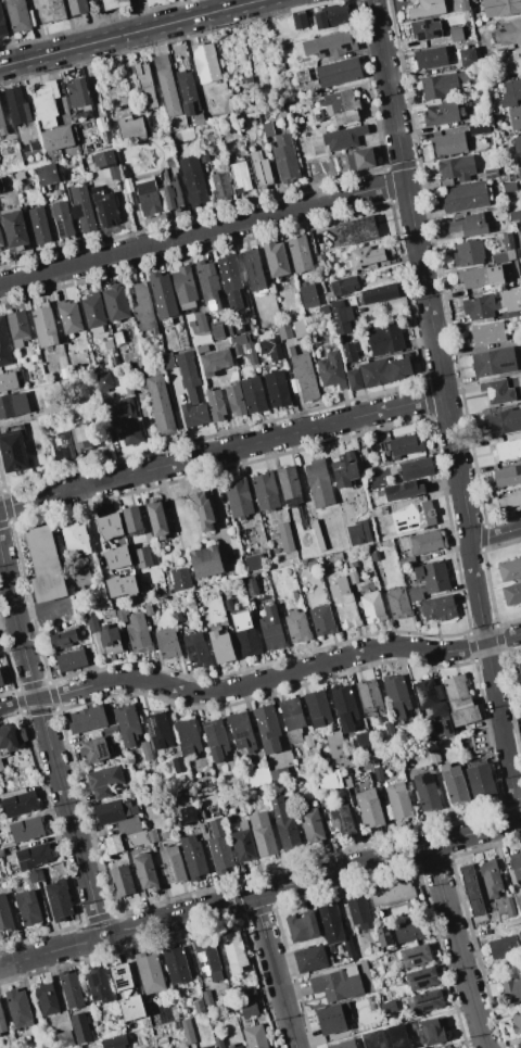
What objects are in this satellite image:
building: (143, 0)
building: (115, 3)
building: (463, 5)
building: (77, 7)
building: (500, 8)
building: (427, 9)
building: (52, 10)
building: (17, 15)
building: (331, 15)
building: (300, 21)
building: (476, 23)
building: (2, 24)
building: (425, 29)
road: (129, 33)
building: (508, 33)
building: (456, 34)
building: (329, 45)
building: (431, 58)
building: (468, 58)
building: (511, 60)
building: (205, 62)
building: (339, 72)
building: (302, 76)
building: (144, 80)
building: (167, 85)
building: (440, 85)
building: (77, 92)
building: (188, 92)
building: (510, 93)
building: (46, 103)
building: (343, 105)
building: (17, 106)
building: (442, 113)
building: (251, 114)
building: (514, 117)
building: (1, 118)
building: (199, 118)
building: (300, 119)
building: (130, 128)
building: (268, 129)
building: (479, 129)
building: (56, 138)
building: (344, 138)
building: (517, 143)
building: (448, 144)
building: (203, 155)
building: (104, 157)
building: (285, 157)
building: (361, 159)
building: (170, 163)
building: (260, 169)
building: (456, 171)
building: (112, 173)
building: (519, 173)
building: (47, 174)
building: (491, 174)
building: (240, 176)
building: (505, 178)
building: (193, 179)
building: (220, 186)
building: (509, 187)
building: (173, 195)
building: (148, 197)
building: (465, 198)
building: (105, 206)
building: (82, 209)
building: (514, 215)
building: (61, 218)
building: (40, 225)
building: (469, 225)
building: (14, 227)
building: (520, 229)
building: (356, 230)
road: (202, 231)
building: (1, 239)
building: (0, 249)
building: (506, 250)
building: (468, 253)
building: (518, 253)
building: (300, 254)
building: (367, 256)
building: (276, 258)
building: (254, 270)
building: (480, 276)
building: (520, 278)
building: (208, 283)
building: (232, 283)
building: (344, 286)
building: (185, 287)
building: (380, 293)
building: (308, 294)
building: (163, 295)
building: (329, 296)
building: (511, 301)
building: (115, 302)
building: (480, 306)
building: (143, 308)
building: (93, 311)
building: (68, 316)
building: (341, 317)
building: (201, 323)
building: (191, 324)
building: (45, 326)
building: (17, 327)
building: (221, 329)
building: (284, 331)
building: (487, 332)
building: (391, 338)
building: (3, 344)
building: (243, 348)
building: (201, 349)
building: (271, 349)
building: (292, 350)
building: (78, 358)
building: (114, 361)
building: (215, 362)
building: (494, 362)
building: (331, 370)
building: (380, 371)
building: (64, 373)
building: (305, 376)
building: (9, 381)
building: (103, 381)
building: (277, 389)
building: (191, 390)
building: (497, 391)
building: (252, 394)
building: (234, 399)
building: (215, 404)
building: (160, 405)
building: (7, 406)
building: (37, 408)
road: (446, 409)
building: (124, 420)
building: (503, 421)
building: (81, 432)
building: (63, 444)
building: (401, 446)
building: (13, 449)
road: (221, 450)
building: (507, 450)
building: (417, 468)
building: (345, 470)
building: (507, 476)
building: (319, 483)
building: (289, 485)
building: (265, 491)
building: (405, 491)
building: (239, 498)
building: (509, 503)
building: (204, 510)
building: (414, 517)
building: (132, 520)
building: (157, 520)
building: (109, 526)
building: (358, 531)
road: (496, 534)
building: (318, 535)
building: (285, 536)
building: (75, 538)
building: (427, 542)
building: (520, 552)
building: (374, 554)
building: (336, 556)
building: (115, 557)
building: (142, 557)
building: (205, 561)
building: (407, 561)
building: (253, 563)
building: (312, 564)
building: (45, 565)
building: (509, 569)
building: (353, 576)
building: (432, 576)
building: (79, 578)
building: (179, 580)
building: (119, 585)
building: (250, 585)
building: (415, 593)
building: (511, 594)
building: (343, 603)
building: (397, 603)
building: (228, 604)
building: (372, 607)
building: (439, 608)
building: (111, 614)
building: (122, 615)
building: (322, 620)
building: (205, 621)
building: (92, 623)
building: (103, 627)
building: (297, 627)
building: (271, 629)
building: (245, 632)
building: (138, 633)
building: (65, 636)
building: (109, 636)
building: (167, 643)
building: (221, 646)
building: (112, 649)
building: (196, 649)
building: (110, 658)
building: (71, 660)
building: (519, 673)
road: (279, 677)
building: (1, 680)
building: (397, 695)
building: (431, 697)
building: (370, 698)
building: (459, 700)
road: (17, 702)
building: (344, 707)
building: (318, 709)
building: (292, 718)
building: (87, 719)
building: (127, 724)
building: (442, 728)
building: (519, 728)
building: (267, 729)
building: (158, 730)
building: (111, 731)
building: (241, 731)
building: (188, 736)
building: (11, 737)
road: (48, 738)
building: (215, 740)
building: (308, 741)
building: (361, 741)
building: (335, 747)
building: (94, 750)
building: (145, 750)
building: (435, 756)
building: (373, 760)
building: (179, 765)
building: (1, 766)
building: (379, 773)
building: (278, 774)
building: (255, 778)
building: (480, 780)
building: (104, 781)
building: (346, 782)
building: (454, 783)
building: (425, 793)
building: (398, 801)
building: (21, 804)
building: (371, 809)
building: (114, 810)
building: (200, 815)
building: (187, 816)
building: (341, 821)
building: (243, 824)
building: (284, 824)
building: (128, 825)
building: (312, 825)
building: (27, 830)
building: (165, 834)
building: (263, 834)
building: (152, 836)
building: (136, 839)
building: (113, 845)
building: (243, 846)
building: (218, 847)
building: (2, 853)
building: (34, 856)
building: (193, 857)
building: (173, 863)
building: (516, 864)
building: (147, 872)
building: (38, 874)
building: (468, 874)
building: (31, 875)
road: (316, 876)
building: (491, 879)
building: (122, 881)
building: (4, 882)
building: (472, 891)
building: (392, 893)
building: (59, 900)
building: (518, 901)
building: (28, 907)
building: (476, 907)
building: (509, 907)
building: (358, 911)
building: (5, 914)
building: (329, 914)
building: (302, 925)
building: (410, 931)
road: (109, 932)
building: (383, 937)
building: (333, 938)
building: (352, 946)
road: (456, 946)
building: (505, 946)
road: (54, 950)
building: (233, 952)
building: (416, 956)
building: (207, 958)
building: (310, 958)
road: (7, 962)
building: (175, 963)
road: (274, 971)
building: (150, 972)
building: (120, 978)
building: (421, 978)
building: (99, 984)
building: (336, 985)
building: (71, 989)
building: (512, 990)
building: (250, 994)
building: (206, 996)
building: (139, 997)
building: (47, 998)
building: (425, 1001)
building: (198, 1006)
building: (20, 1008)
building: (130, 1008)
building: (249, 1009)
building: (332, 1018)
building: (2, 1022)
building: (516, 1023)
building: (82, 1027)
building: (188, 1031)
building: (431, 1032)
building: (255, 1036)
building: (397, 1036)
building: (64, 1039)
building: (372, 1039)
building: (114, 1041)
building: (342, 1044)
building: (519, 1045)
building: (203, 1047)
building: (209, 1047)
building: (213, 1047)
building: (238, 1047)
building: (446, 1047)

